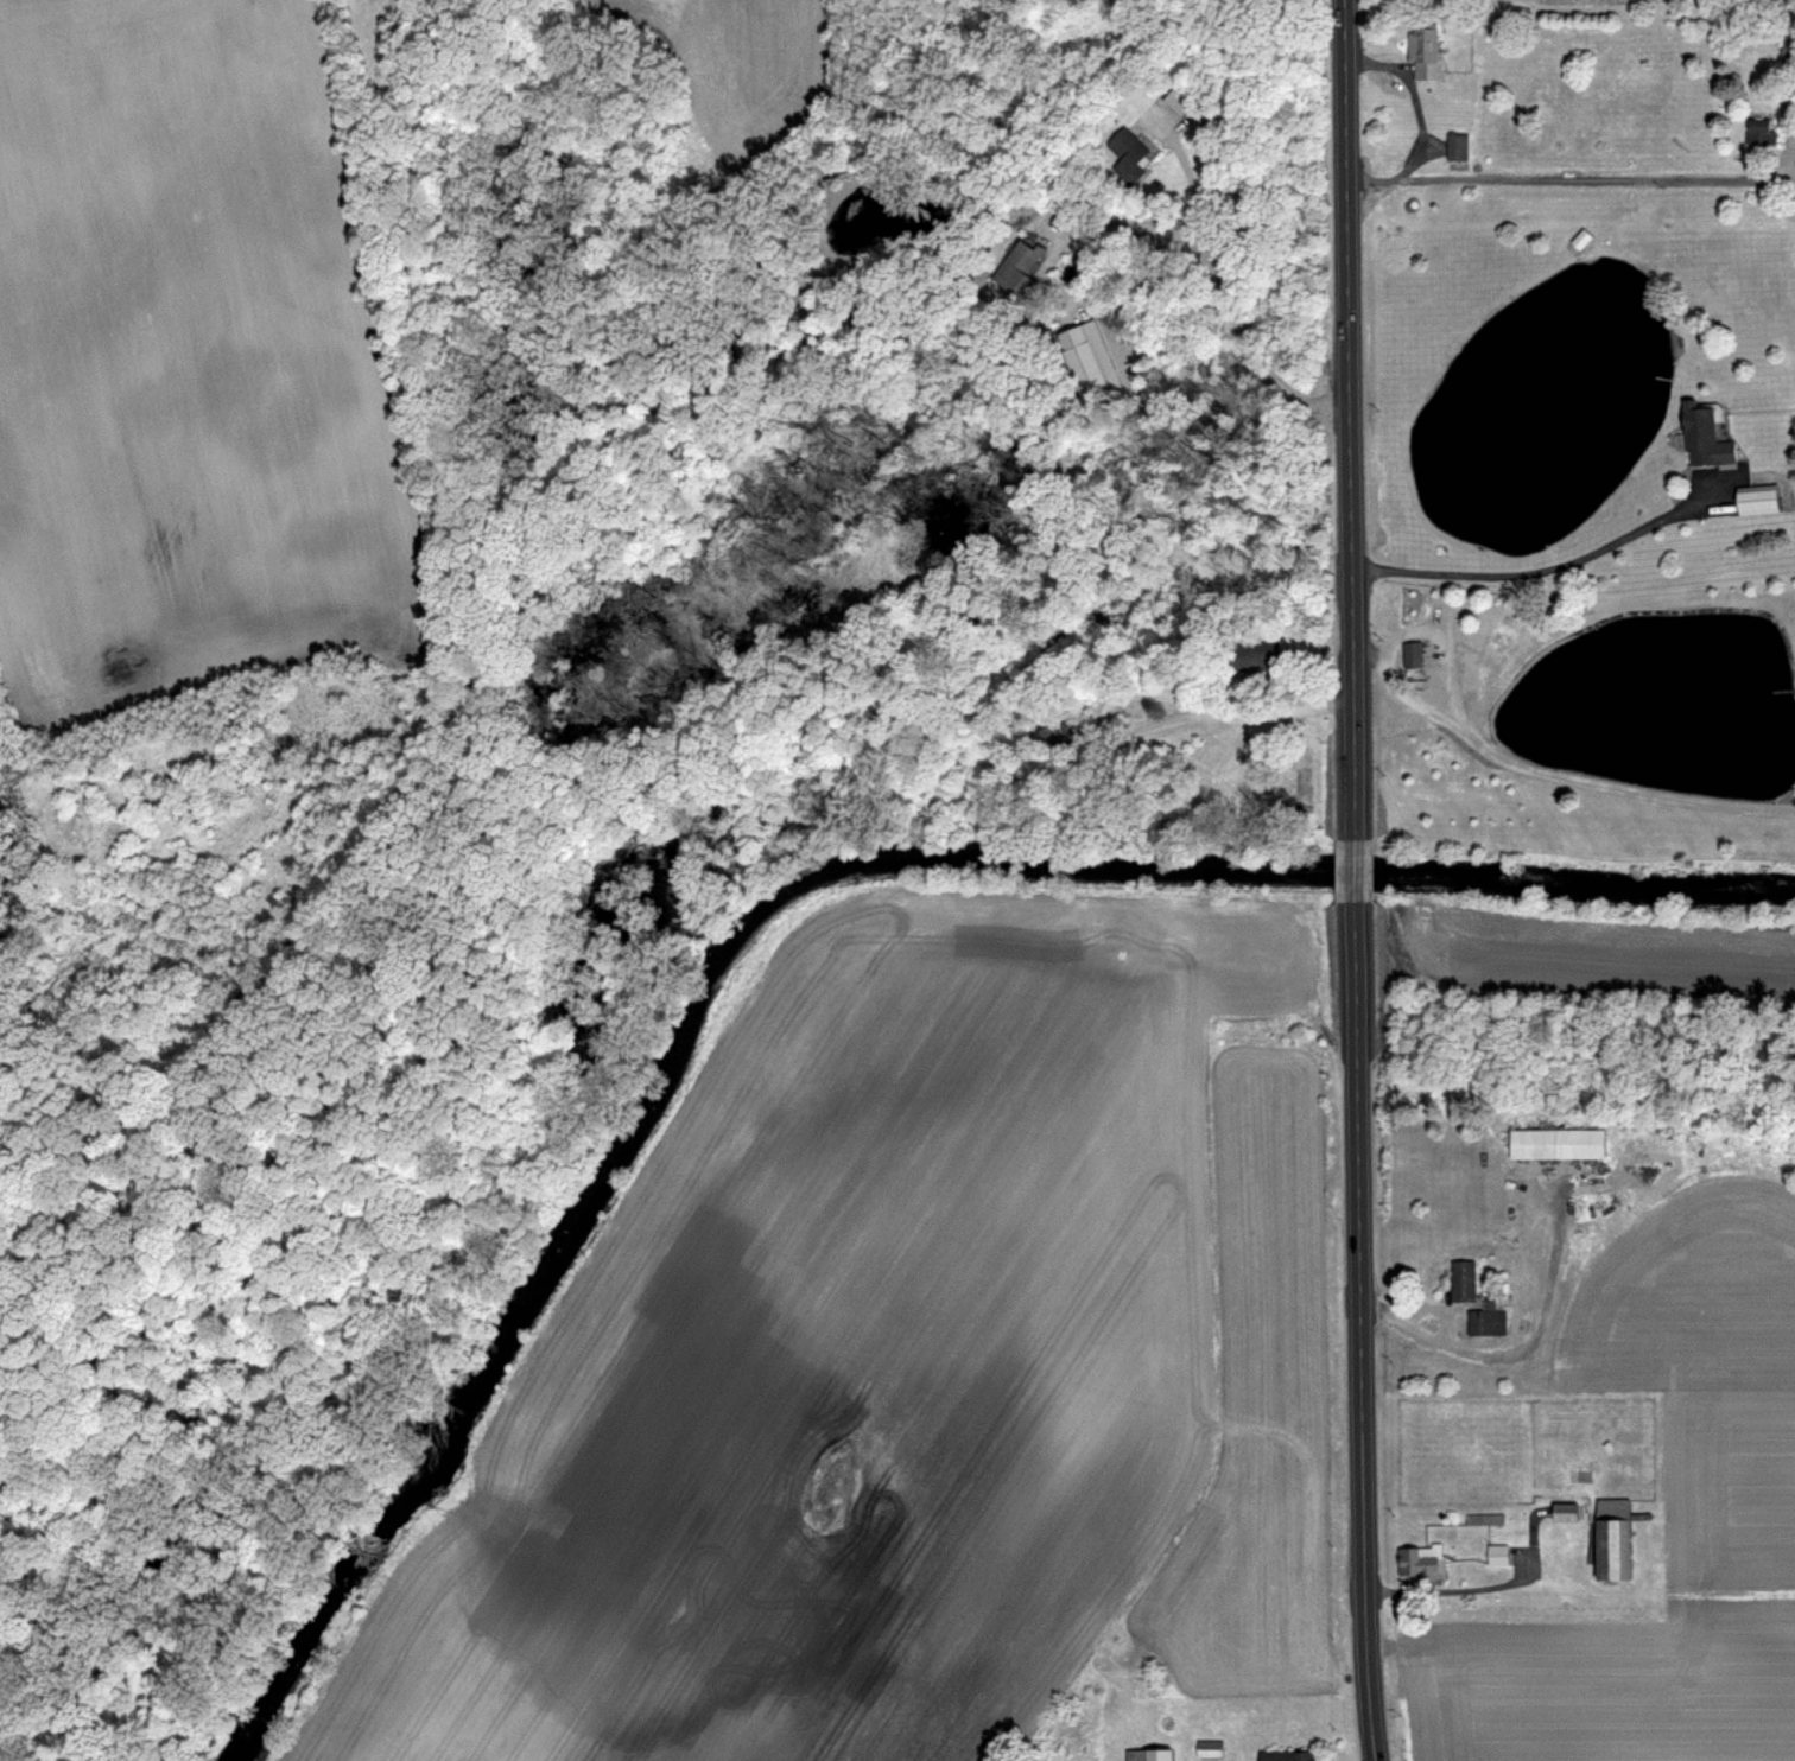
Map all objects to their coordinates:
crop: (1626, 2)
building: (1423, 51)
building: (1788, 52)
building: (1178, 100)
building: (1762, 132)
building: (1457, 147)
building: (1129, 154)
road: (1581, 176)
road: (1188, 183)
building: (1578, 239)
road: (1149, 241)
building: (1021, 272)
road: (1256, 352)
building: (1079, 362)
crop: (190, 371)
road: (1349, 419)
building: (1701, 438)
building: (1755, 500)
road: (1540, 571)
building: (1491, 649)
building: (1410, 655)
building: (1254, 657)
road: (1167, 723)
building: (1049, 745)
road: (1554, 769)
road: (1353, 884)
river: (800, 926)
building: (1555, 1142)
crop: (1704, 1228)
crop: (1704, 1228)
building: (1460, 1280)
building: (1485, 1320)
road: (1360, 1346)
road: (1510, 1353)
building: (1564, 1512)
building: (1483, 1519)
building: (1610, 1539)
building: (1496, 1553)
building: (1423, 1562)
road: (1474, 1585)
crop: (1605, 1683)
building: (1146, 1755)
building: (1286, 1756)
road: (1370, 1756)

